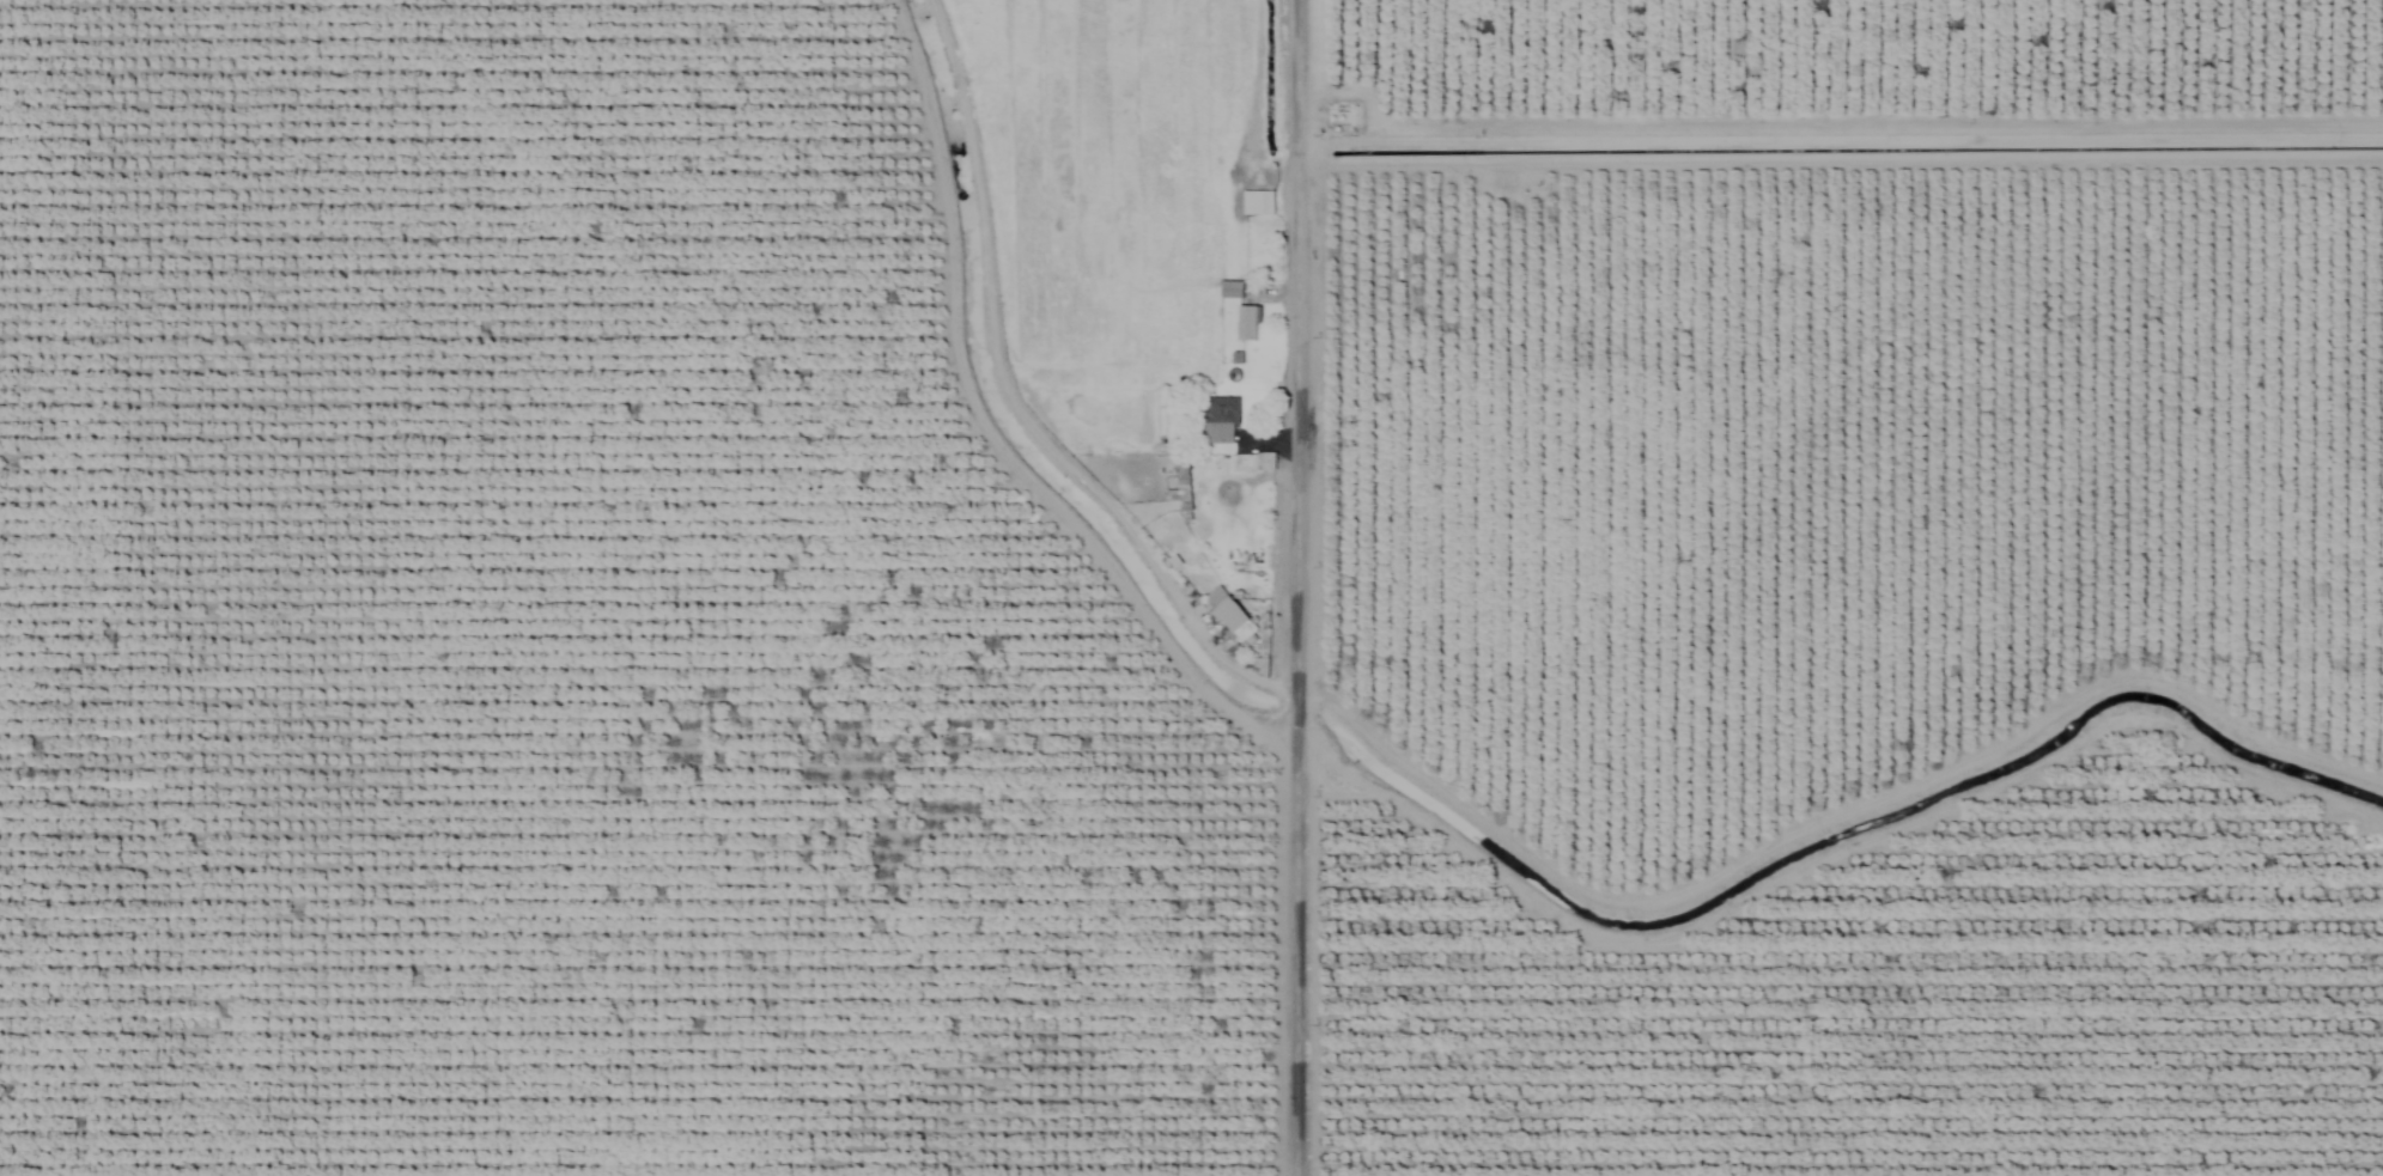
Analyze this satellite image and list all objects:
building: (1254, 201)
building: (1228, 288)
building: (1245, 322)
building: (1216, 418)
crop: (1191, 587)
road: (1291, 587)
road: (1832, 863)

